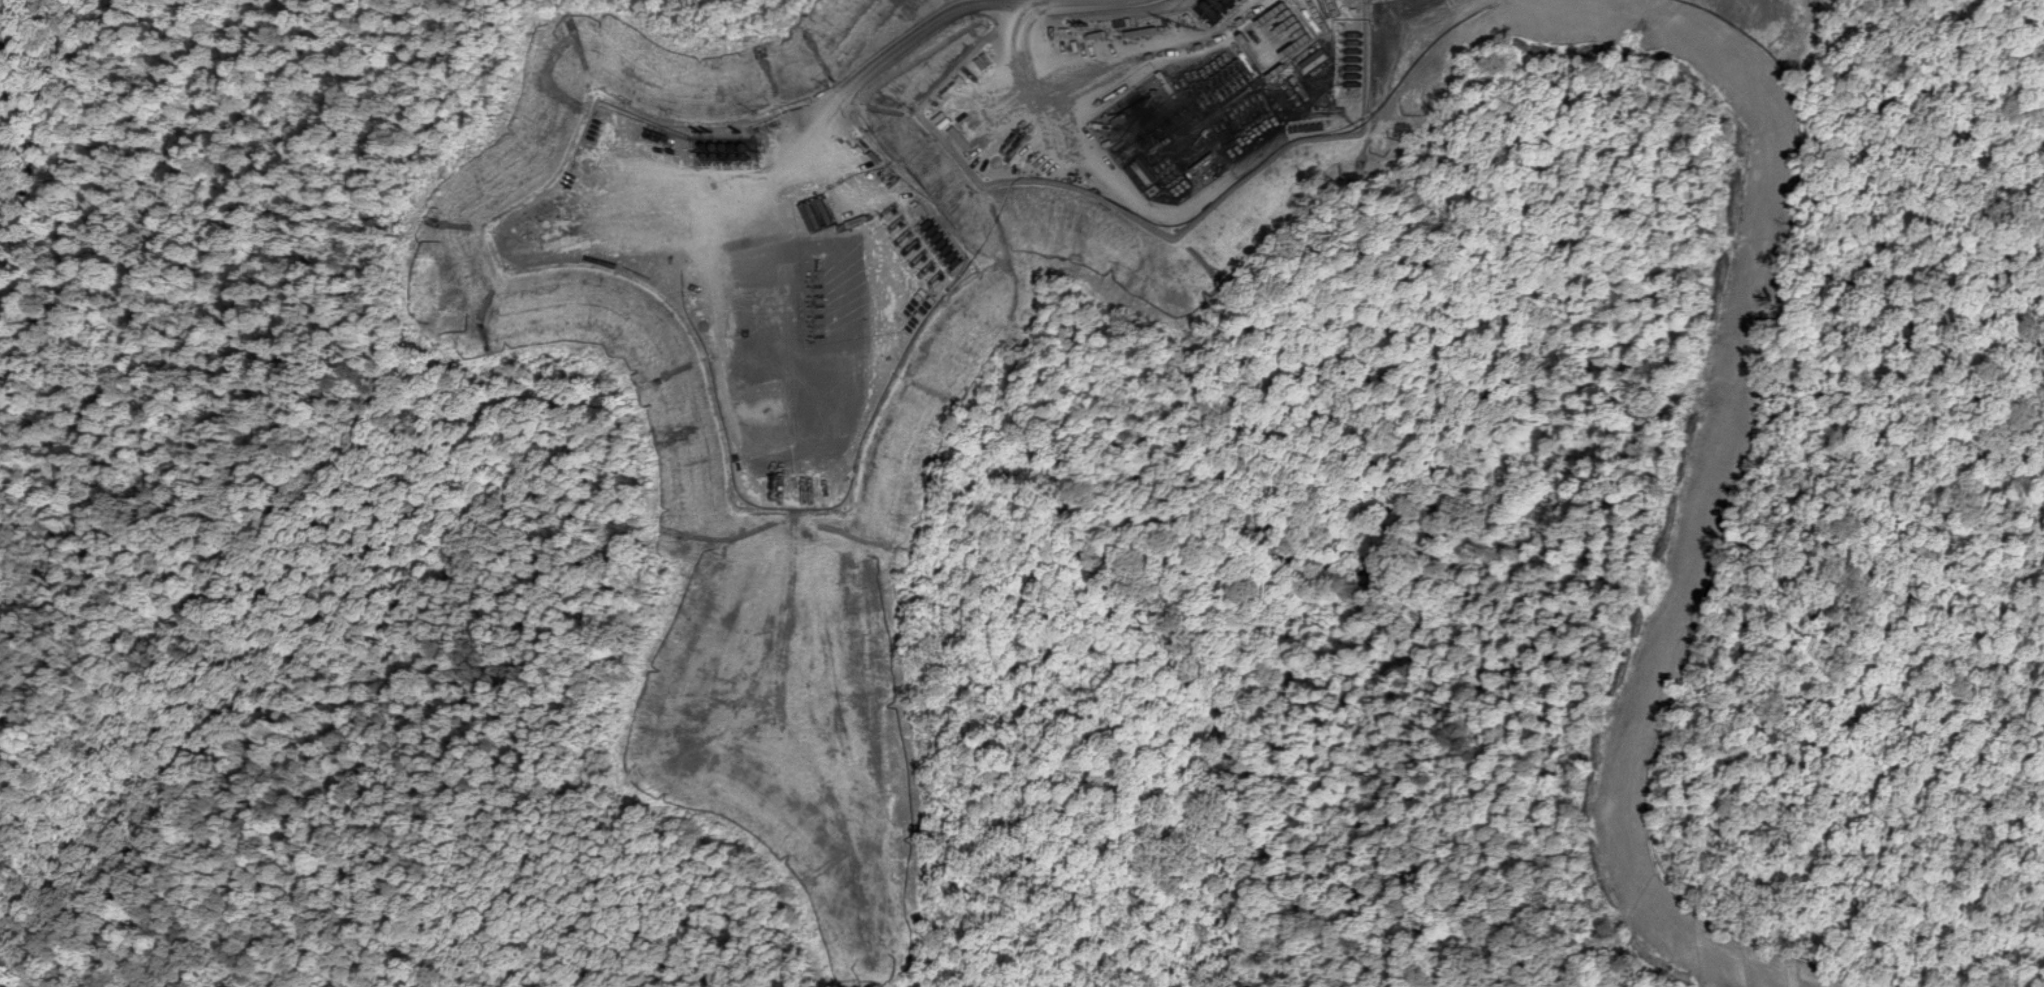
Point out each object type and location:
building: (4, 986)

